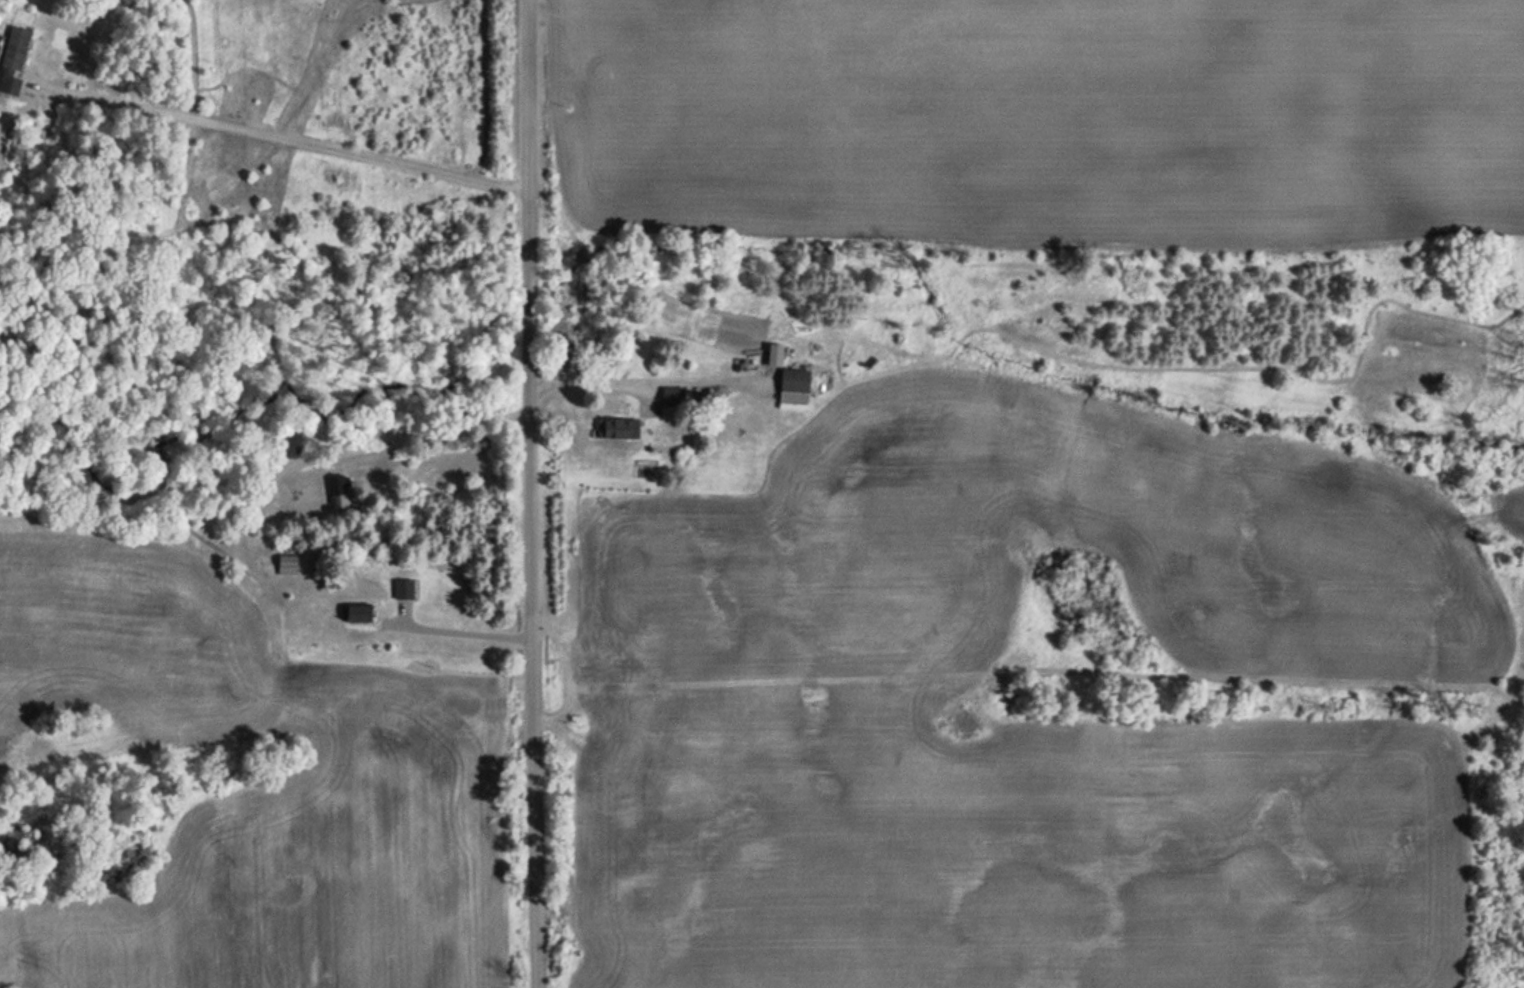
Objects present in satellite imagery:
building: (12, 60)
building: (794, 381)
building: (671, 396)
building: (612, 428)
building: (336, 487)
road: (532, 493)
building: (285, 560)
building: (402, 588)
building: (357, 613)

